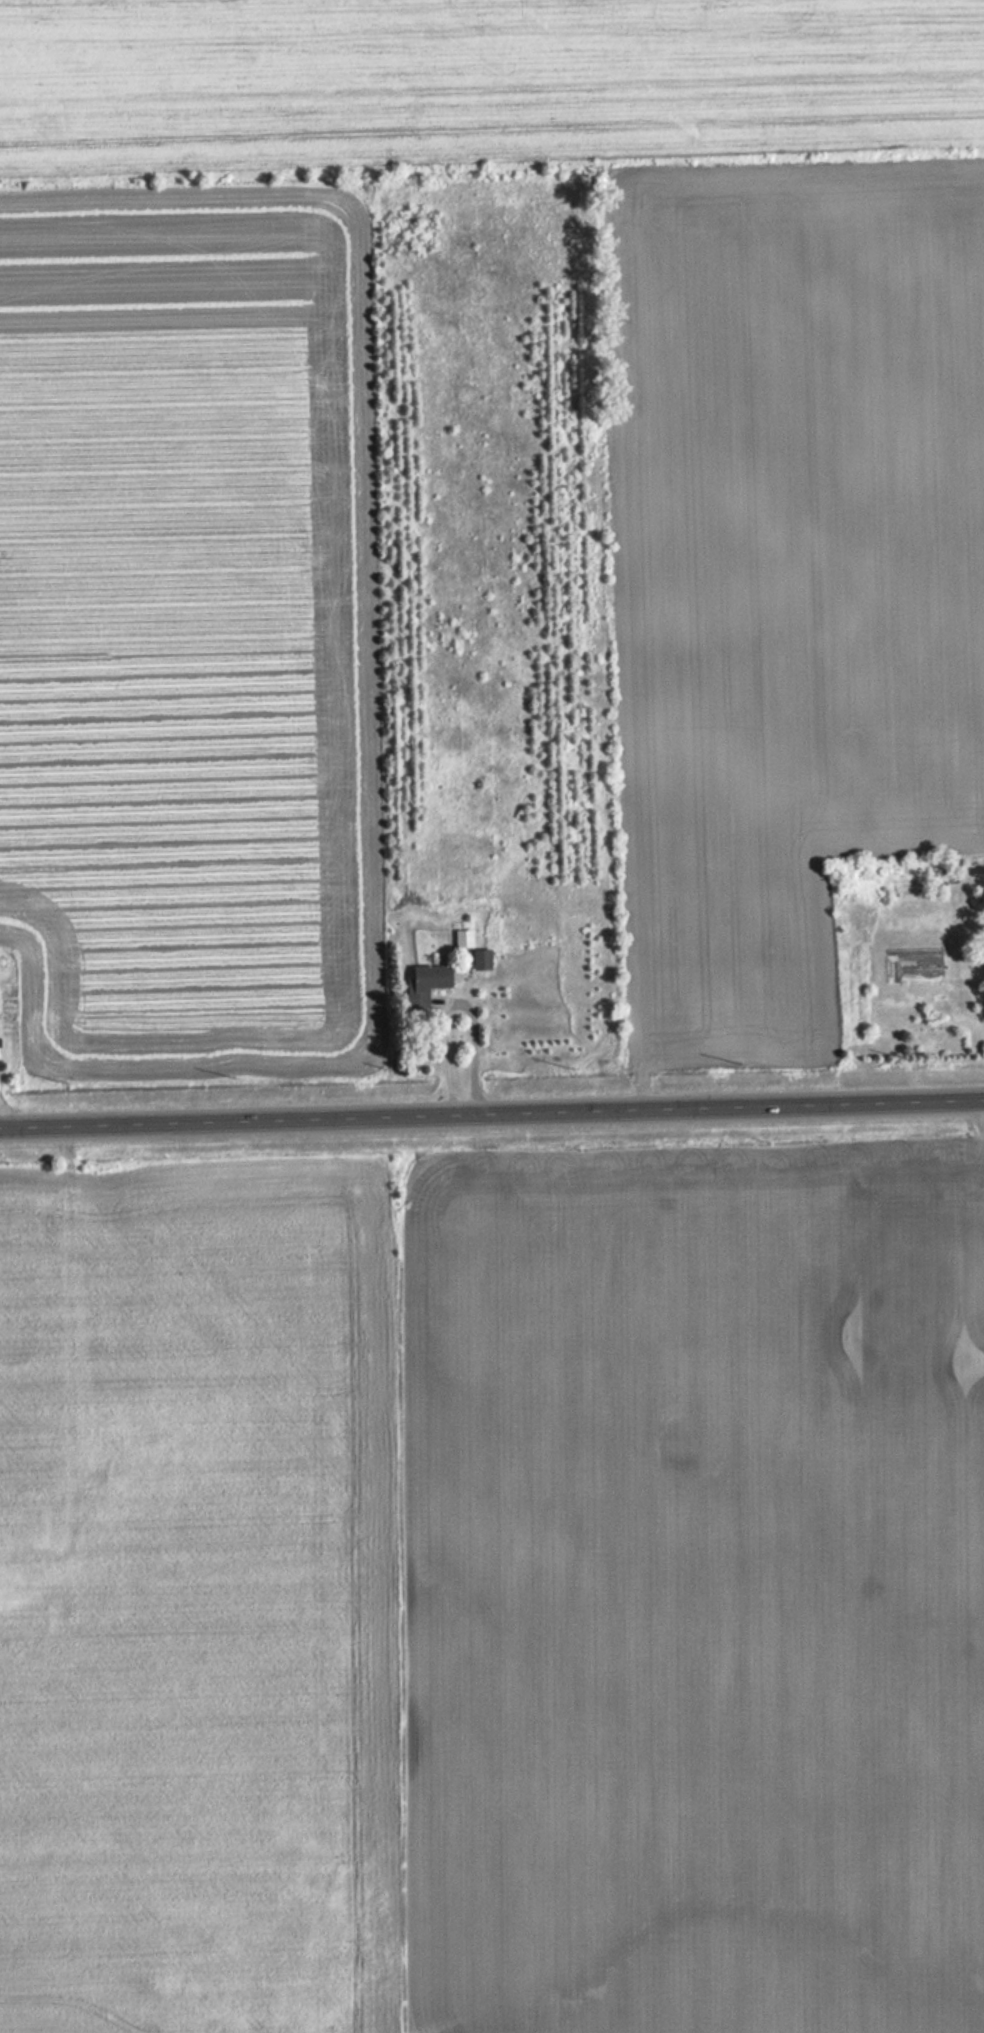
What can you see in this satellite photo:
building: (427, 985)
road: (491, 1110)
road: (72, 1351)

